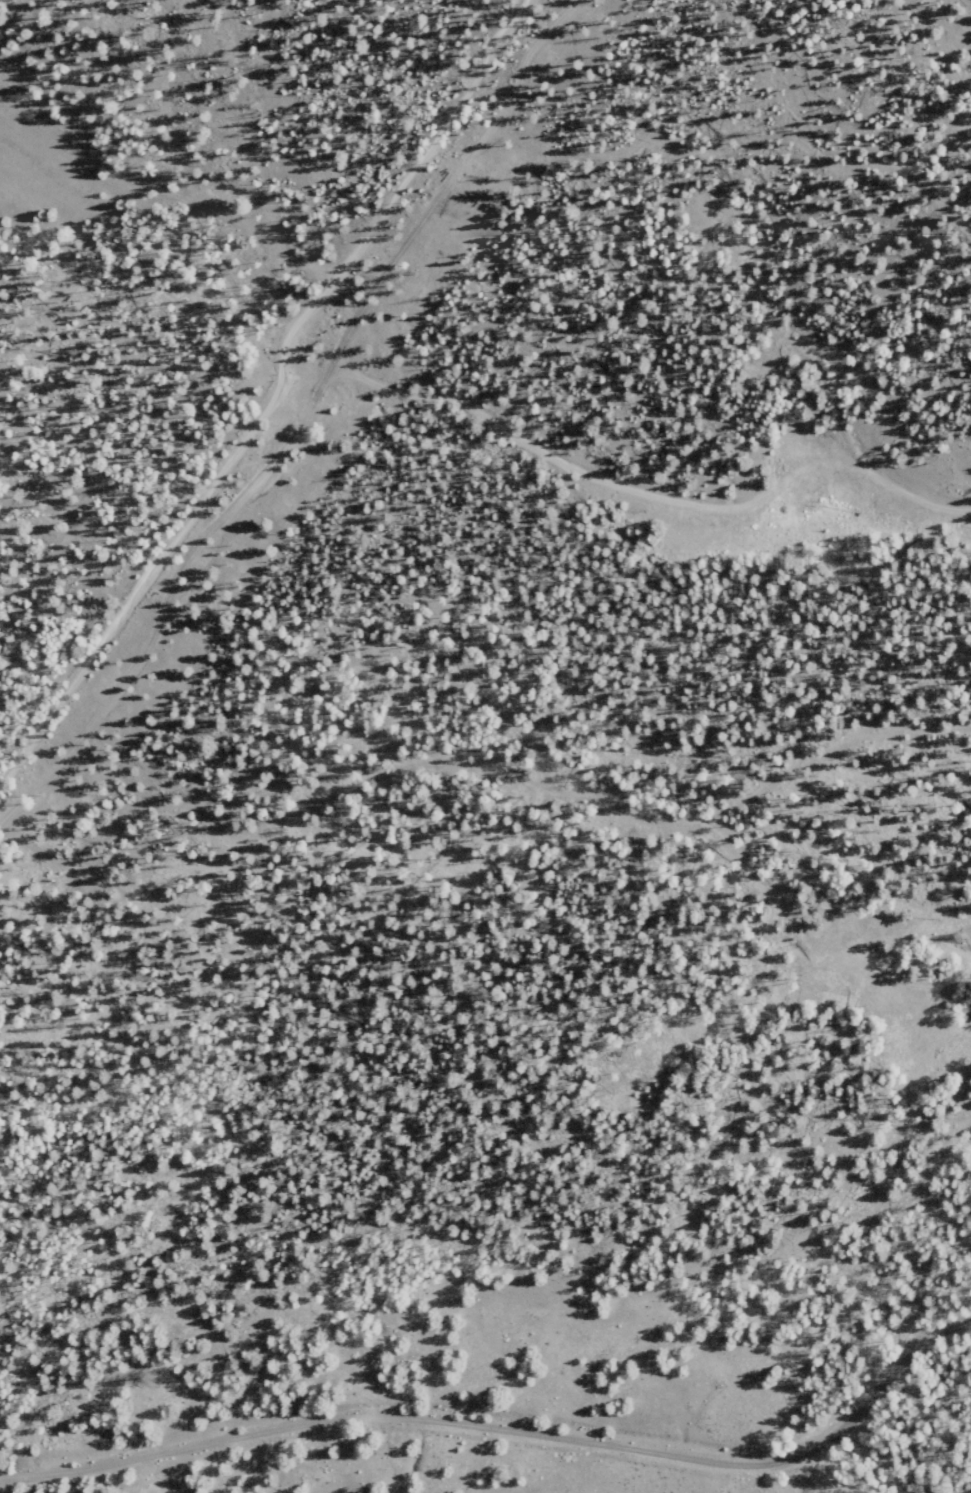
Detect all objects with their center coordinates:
road: (270, 404)
road: (631, 477)
road: (490, 1431)

